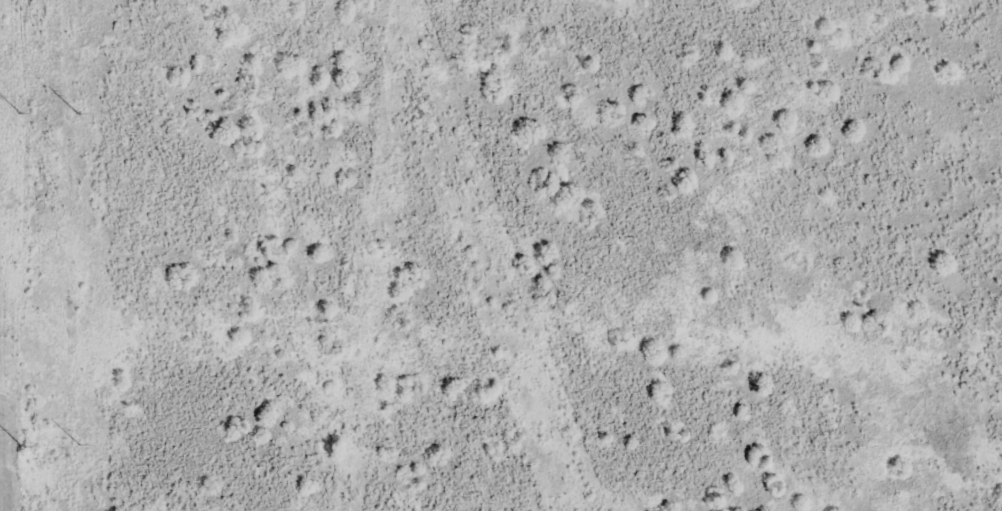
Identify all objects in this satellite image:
power tower: (380, 249)
power tower: (534, 387)

